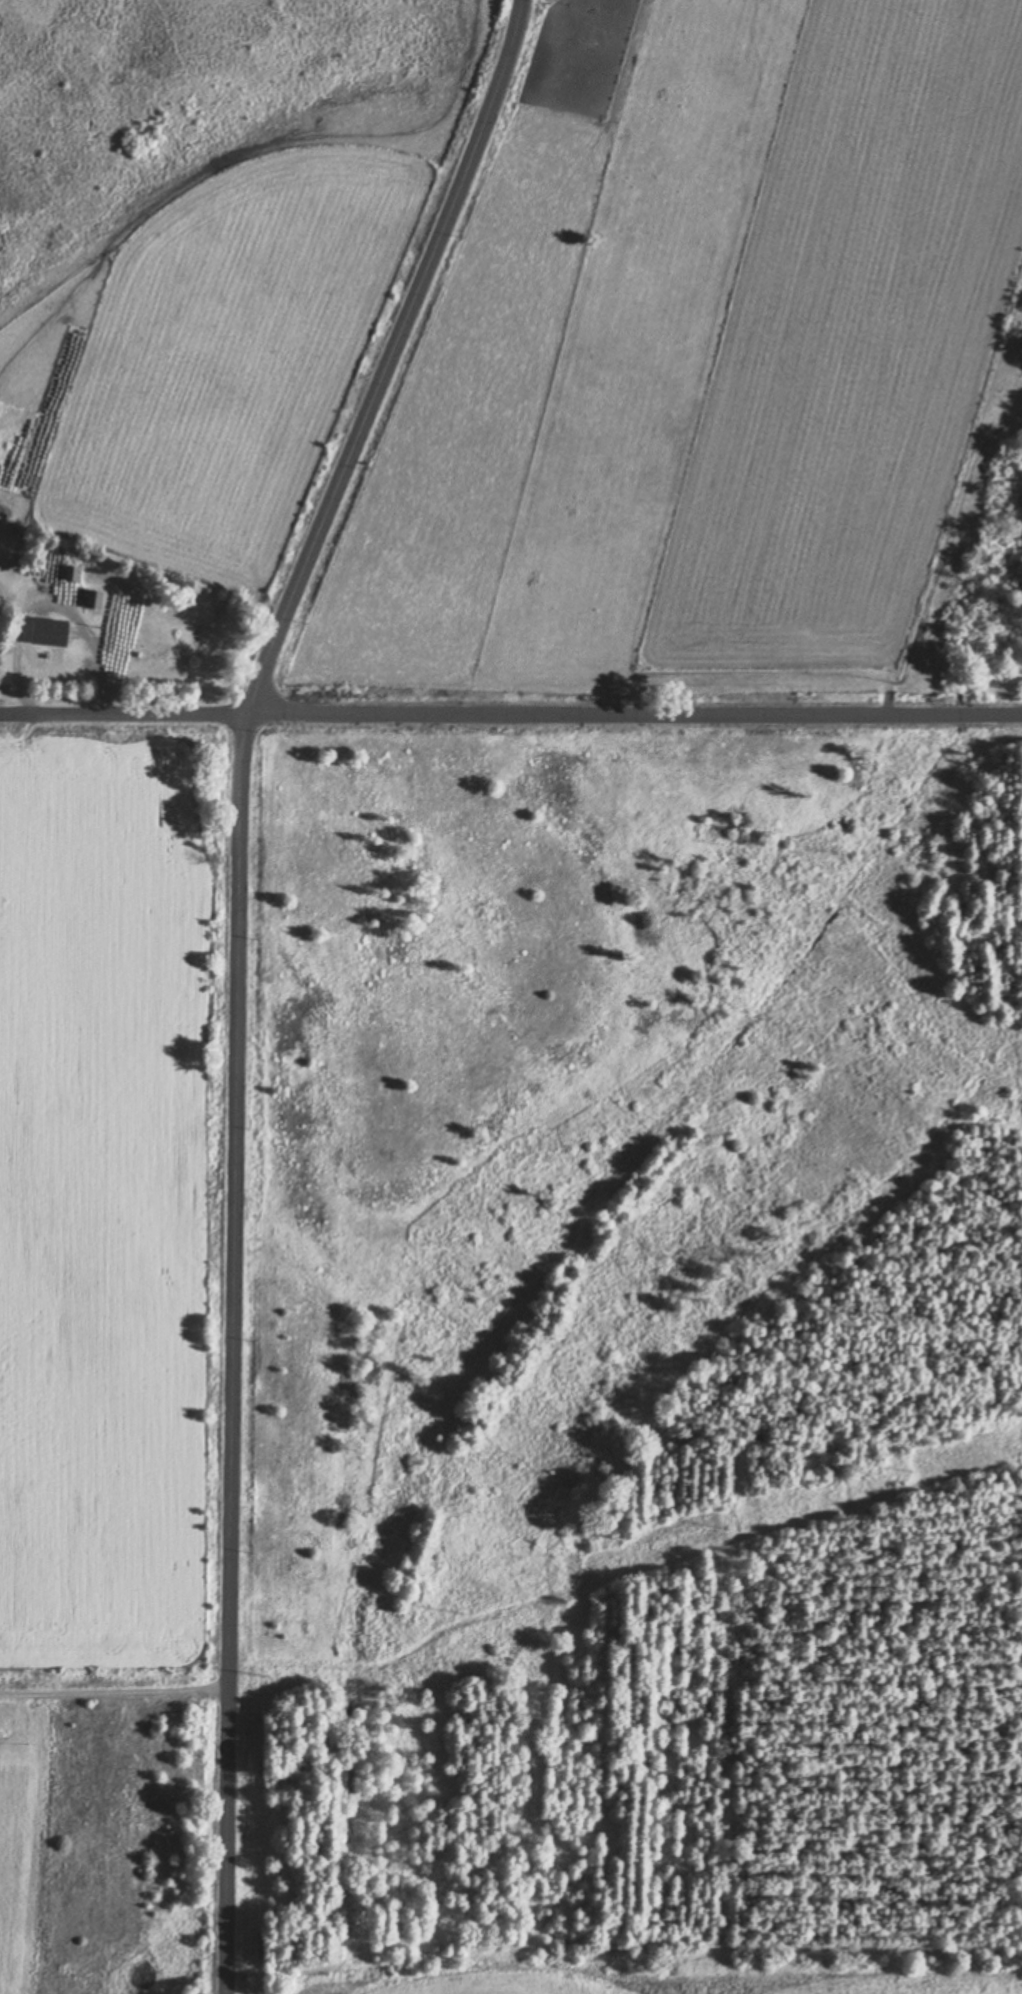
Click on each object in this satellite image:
building: (90, 598)
building: (44, 631)
building: (147, 635)
building: (157, 663)
road: (511, 713)
road: (240, 971)
road: (113, 1694)

